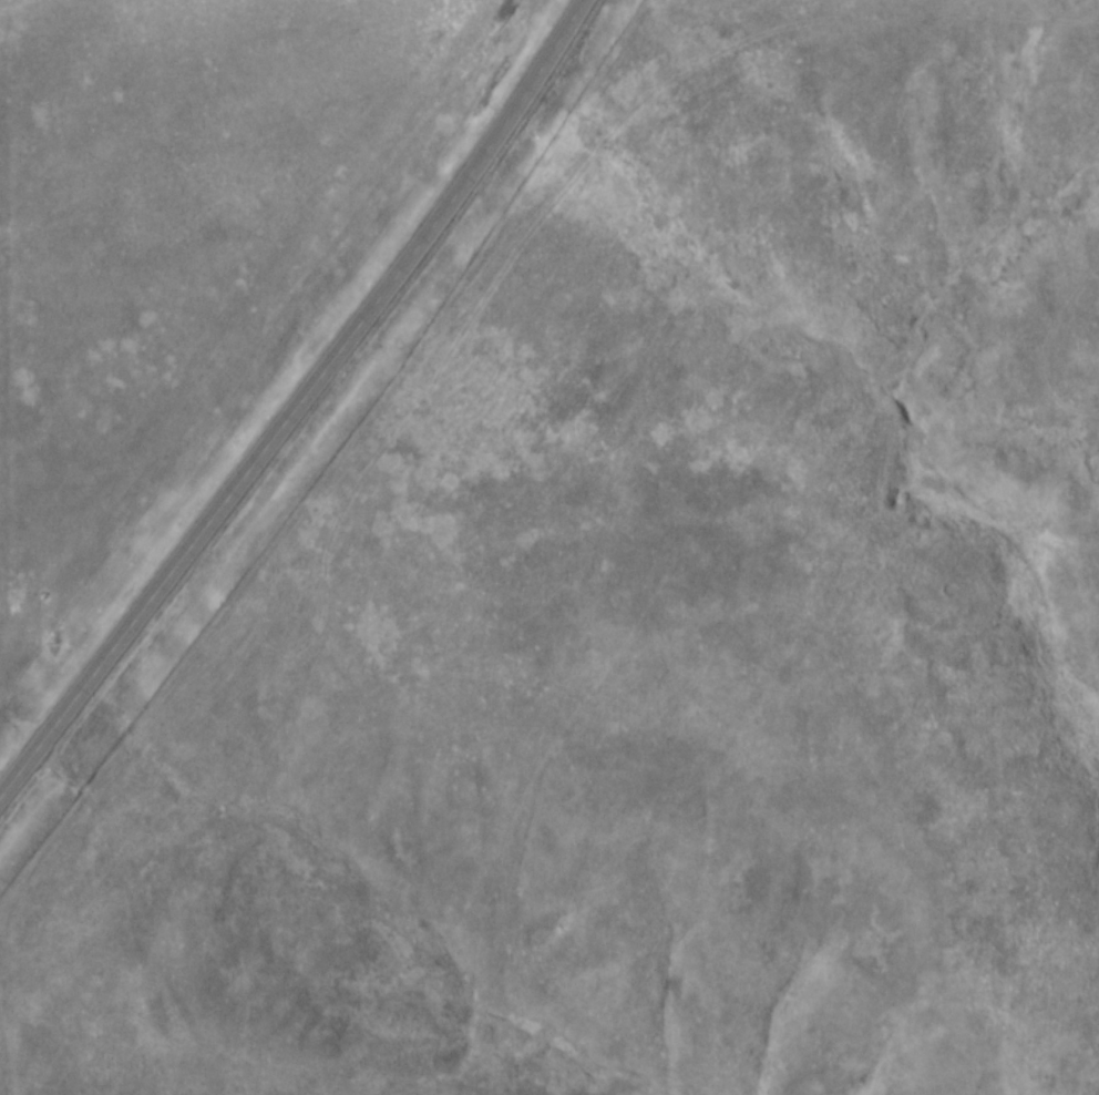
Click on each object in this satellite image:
road: (295, 400)

